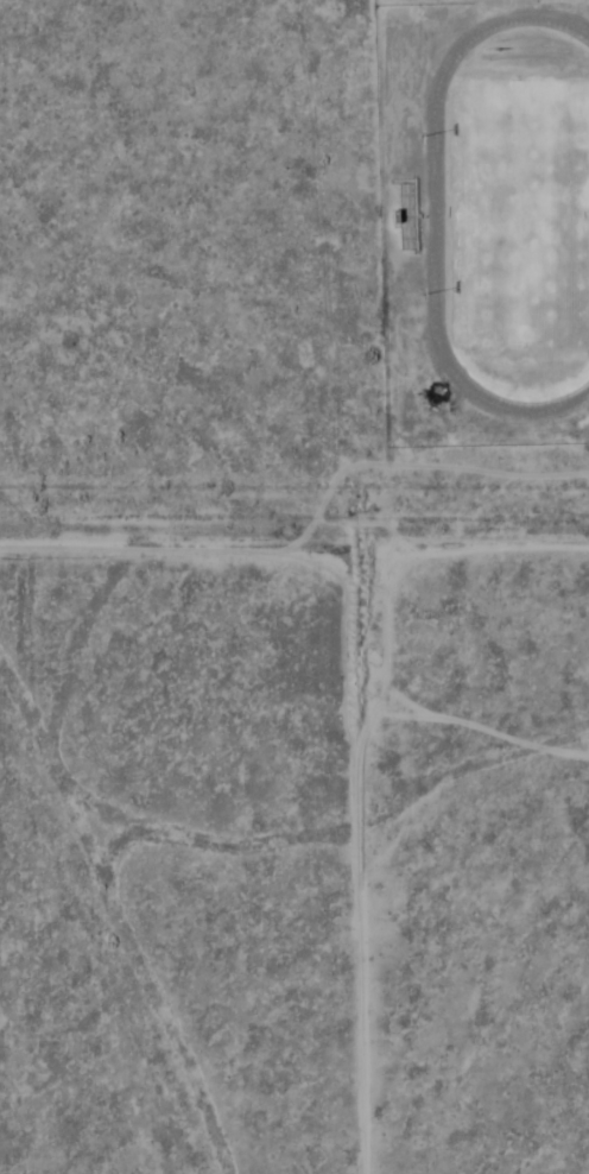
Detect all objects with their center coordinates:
building: (405, 215)
road: (294, 549)

